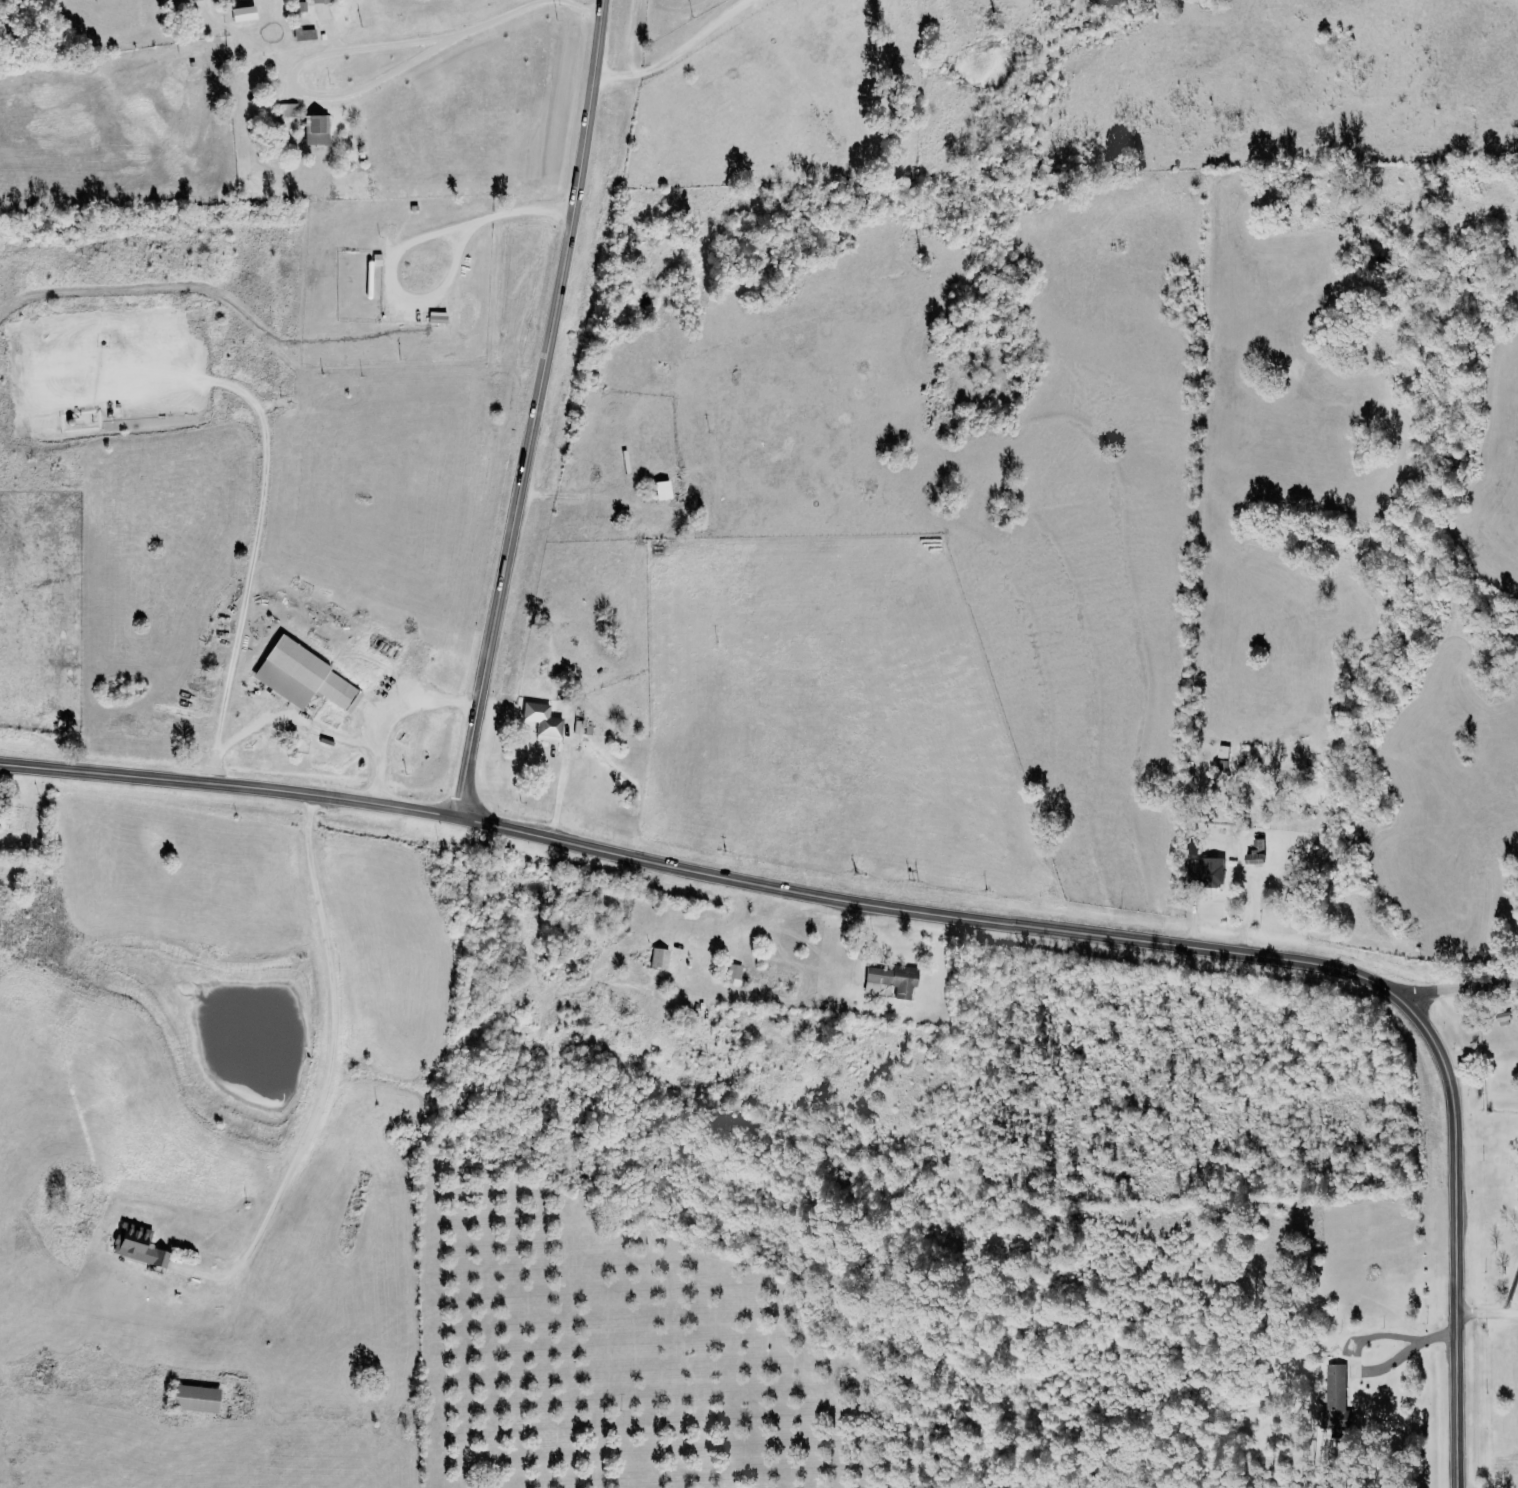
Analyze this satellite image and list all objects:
building: (194, 0)
building: (319, 0)
building: (242, 13)
building: (304, 33)
building: (287, 109)
building: (316, 129)
building: (436, 317)
road: (534, 410)
building: (662, 489)
building: (304, 677)
building: (542, 721)
road: (228, 786)
building: (1, 814)
building: (1255, 853)
building: (1205, 871)
road: (1175, 945)
building: (659, 958)
building: (734, 974)
building: (891, 980)
road: (1453, 987)
building: (1502, 1018)
road: (331, 1058)
building: (138, 1246)
road: (1485, 1315)
building: (194, 1397)
building: (1337, 1406)

